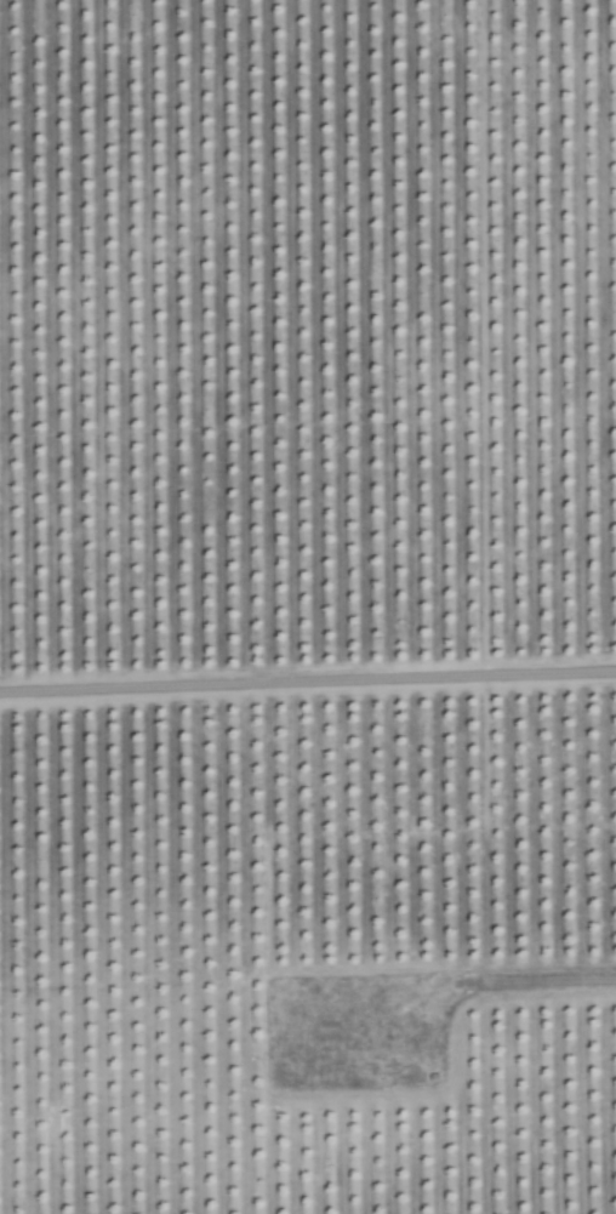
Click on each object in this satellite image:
road: (308, 682)

